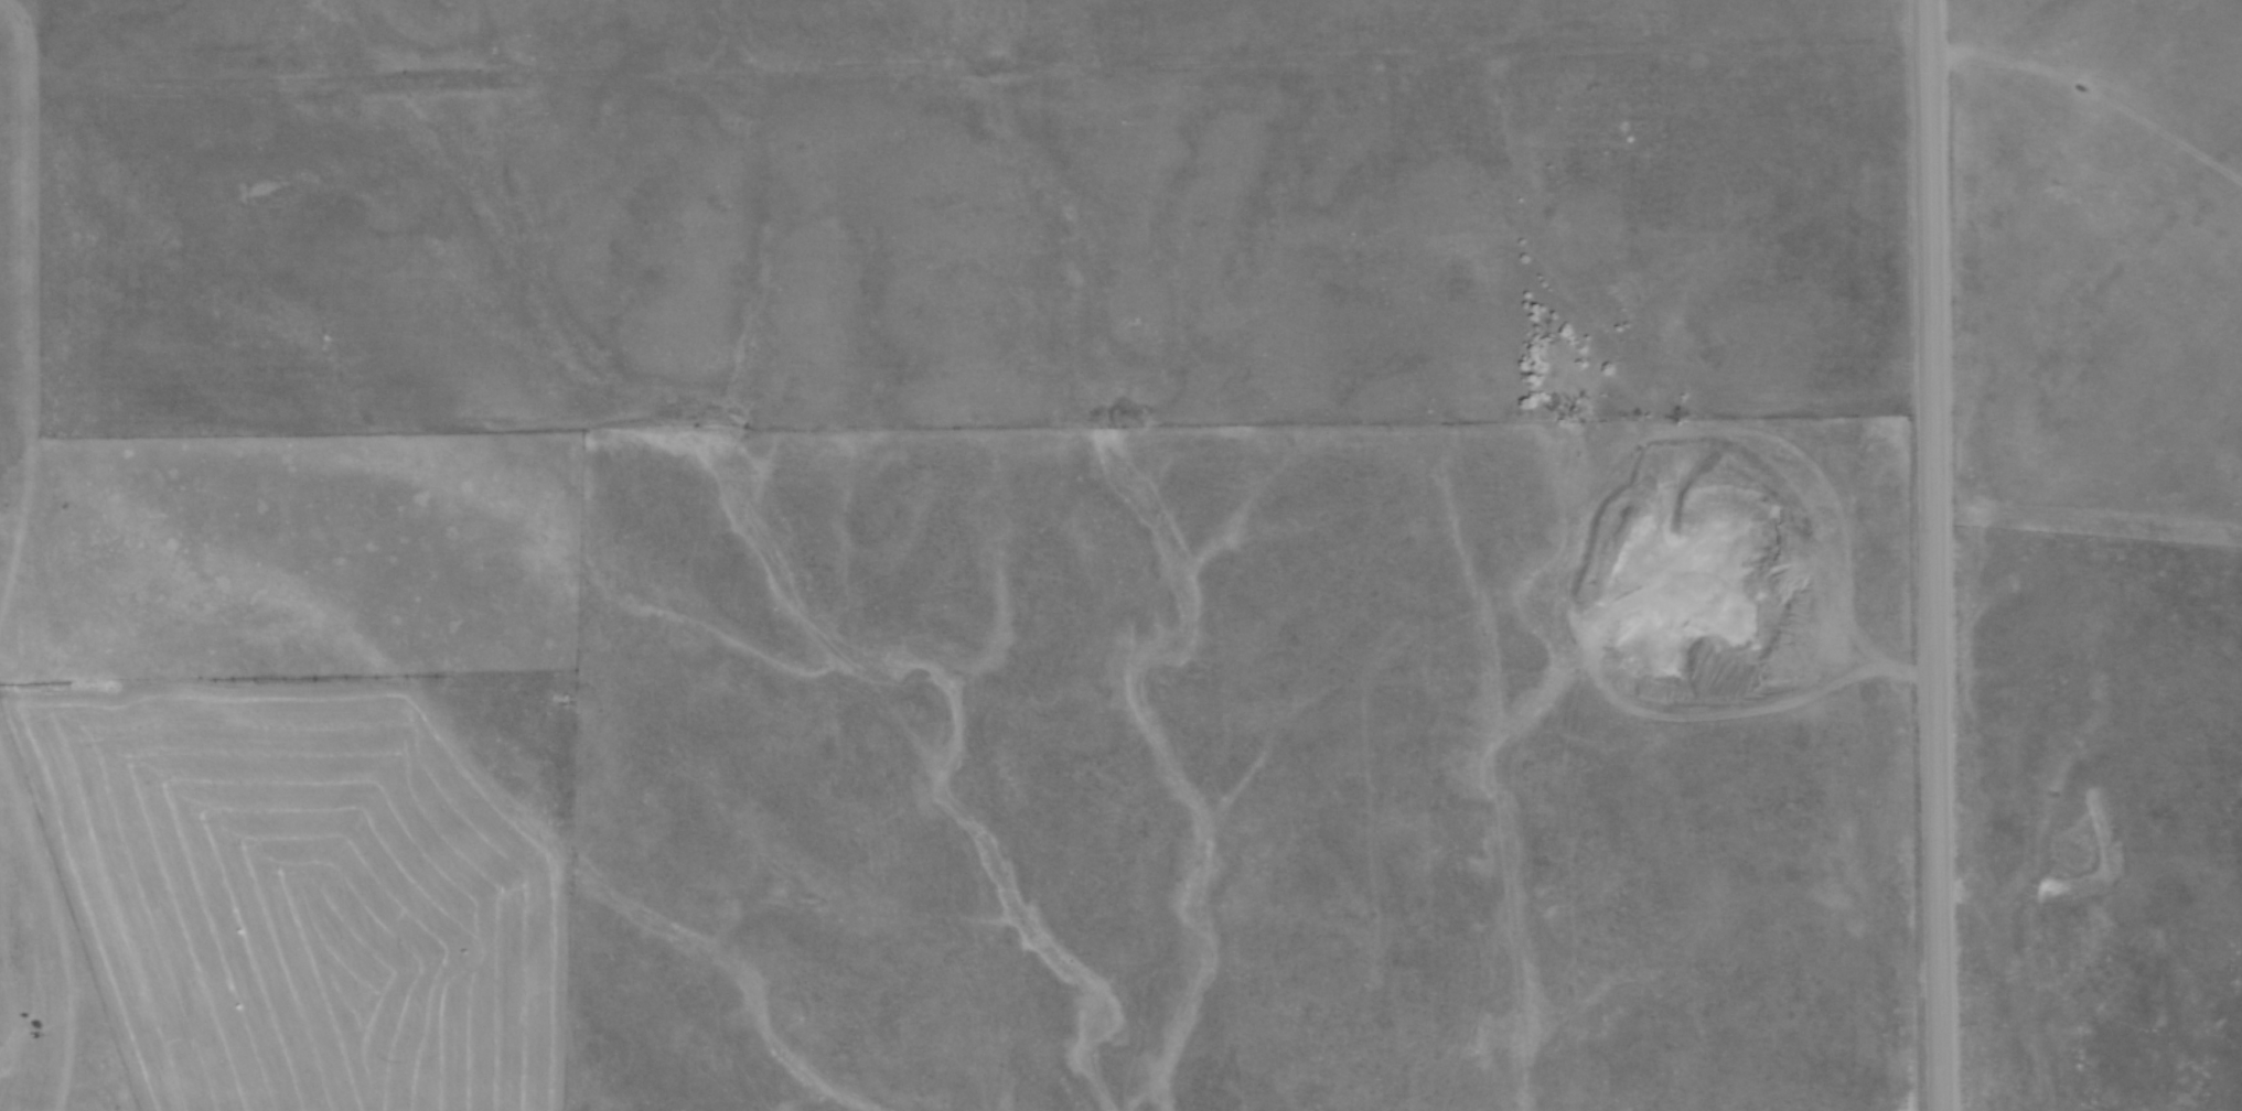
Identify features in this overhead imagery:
road: (1940, 554)

